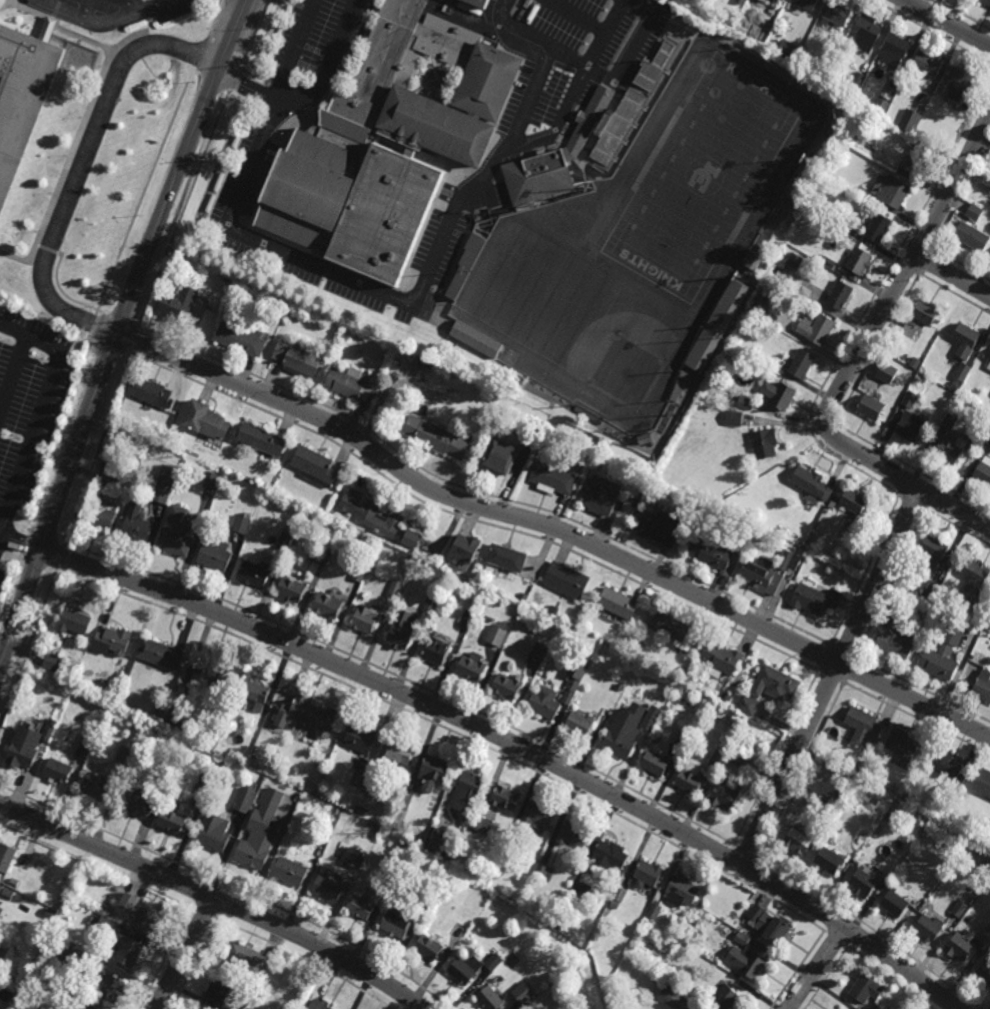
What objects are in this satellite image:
building: (740, 1)
building: (1, 3)
building: (476, 3)
building: (806, 3)
building: (986, 3)
building: (837, 13)
road: (213, 18)
road: (947, 22)
road: (104, 24)
road: (931, 31)
building: (865, 33)
building: (762, 34)
building: (789, 50)
building: (894, 50)
building: (928, 63)
road: (328, 64)
building: (820, 74)
building: (858, 80)
building: (956, 83)
road: (247, 87)
building: (20, 94)
building: (880, 107)
building: (629, 108)
building: (911, 120)
building: (386, 144)
building: (554, 157)
building: (917, 158)
road: (80, 163)
park: (704, 178)
road: (144, 191)
building: (888, 192)
building: (782, 208)
road: (184, 209)
building: (974, 211)
building: (844, 221)
building: (878, 228)
building: (970, 236)
building: (750, 261)
building: (794, 261)
building: (859, 261)
building: (828, 262)
building: (464, 266)
road: (953, 275)
road: (376, 290)
building: (804, 292)
building: (839, 295)
building: (179, 303)
building: (763, 309)
building: (925, 311)
road: (879, 319)
road: (91, 323)
building: (714, 327)
building: (816, 328)
road: (117, 333)
building: (243, 337)
road: (30, 338)
building: (476, 338)
building: (966, 339)
road: (80, 347)
park: (622, 357)
building: (299, 358)
building: (801, 363)
building: (916, 363)
building: (989, 366)
building: (962, 371)
building: (886, 373)
building: (350, 382)
building: (954, 385)
building: (677, 387)
building: (150, 391)
building: (779, 394)
building: (900, 394)
building: (910, 399)
building: (745, 403)
building: (871, 407)
building: (588, 414)
building: (979, 416)
building: (733, 418)
building: (206, 419)
building: (910, 426)
building: (988, 435)
building: (436, 437)
building: (263, 439)
building: (950, 441)
building: (765, 444)
road: (30, 445)
building: (503, 454)
building: (315, 465)
building: (983, 472)
building: (552, 478)
building: (210, 479)
building: (109, 480)
building: (641, 482)
building: (812, 483)
building: (165, 484)
building: (602, 495)
building: (854, 501)
building: (832, 504)
road: (955, 509)
building: (101, 514)
building: (242, 523)
building: (389, 524)
building: (136, 525)
road: (555, 527)
building: (660, 527)
building: (781, 532)
building: (177, 533)
building: (286, 538)
road: (21, 543)
building: (465, 550)
building: (712, 553)
building: (933, 554)
building: (216, 555)
building: (321, 556)
building: (507, 557)
building: (256, 571)
building: (360, 572)
building: (769, 572)
building: (567, 580)
building: (977, 583)
building: (397, 587)
building: (293, 588)
building: (931, 592)
building: (524, 596)
building: (815, 598)
building: (329, 603)
building: (432, 603)
building: (618, 603)
building: (553, 610)
building: (366, 617)
building: (467, 619)
building: (73, 620)
building: (670, 626)
building: (402, 629)
building: (496, 635)
building: (895, 637)
building: (112, 639)
building: (436, 649)
building: (161, 652)
building: (539, 652)
building: (720, 659)
building: (52, 661)
building: (940, 662)
building: (472, 668)
building: (577, 672)
building: (212, 674)
road: (831, 677)
building: (774, 681)
building: (981, 681)
building: (508, 686)
building: (619, 687)
building: (252, 692)
building: (728, 697)
building: (545, 702)
building: (747, 705)
building: (161, 708)
building: (309, 715)
building: (175, 717)
building: (580, 723)
building: (650, 724)
building: (863, 726)
building: (93, 728)
building: (225, 733)
building: (88, 740)
building: (683, 741)
building: (620, 742)
building: (361, 743)
building: (28, 745)
road: (517, 745)
building: (905, 748)
building: (398, 754)
building: (127, 755)
building: (717, 758)
building: (739, 761)
building: (655, 763)
building: (949, 766)
building: (56, 770)
building: (433, 771)
building: (165, 778)
building: (691, 778)
building: (205, 783)
building: (984, 783)
building: (370, 785)
building: (98, 786)
building: (886, 786)
building: (468, 792)
building: (726, 794)
building: (506, 797)
building: (245, 798)
building: (406, 799)
building: (139, 802)
building: (828, 802)
building: (337, 810)
building: (539, 814)
building: (175, 818)
building: (482, 823)
building: (283, 825)
building: (976, 827)
building: (214, 833)
building: (574, 833)
building: (800, 840)
building: (322, 842)
building: (442, 842)
building: (254, 853)
building: (506, 855)
building: (7, 856)
building: (357, 856)
building: (609, 856)
building: (830, 860)
building: (292, 870)
building: (544, 871)
building: (891, 871)
building: (648, 872)
building: (442, 877)
building: (863, 882)
building: (1, 888)
building: (329, 888)
building: (581, 889)
building: (681, 891)
building: (620, 892)
building: (9, 893)
building: (63, 893)
road: (215, 898)
building: (130, 902)
building: (366, 902)
building: (896, 903)
building: (960, 908)
building: (1, 910)
building: (655, 910)
building: (757, 912)
building: (49, 913)
building: (148, 916)
building: (397, 922)
building: (109, 926)
building: (929, 928)
building: (777, 931)
building: (986, 937)
building: (429, 946)
building: (961, 947)
building: (63, 951)
building: (128, 951)
road: (185, 953)
building: (746, 957)
building: (246, 958)
building: (563, 960)
building: (471, 968)
road: (816, 968)
building: (985, 972)
building: (582, 973)
building: (112, 988)
building: (220, 988)
building: (865, 989)
building: (3, 990)
building: (527, 991)
building: (77, 995)
building: (671, 996)
building: (726, 997)
building: (490, 999)
building: (321, 1005)
building: (87, 1007)
building: (197, 1008)
building: (200, 1008)
building: (231, 1008)
building: (690, 1008)

